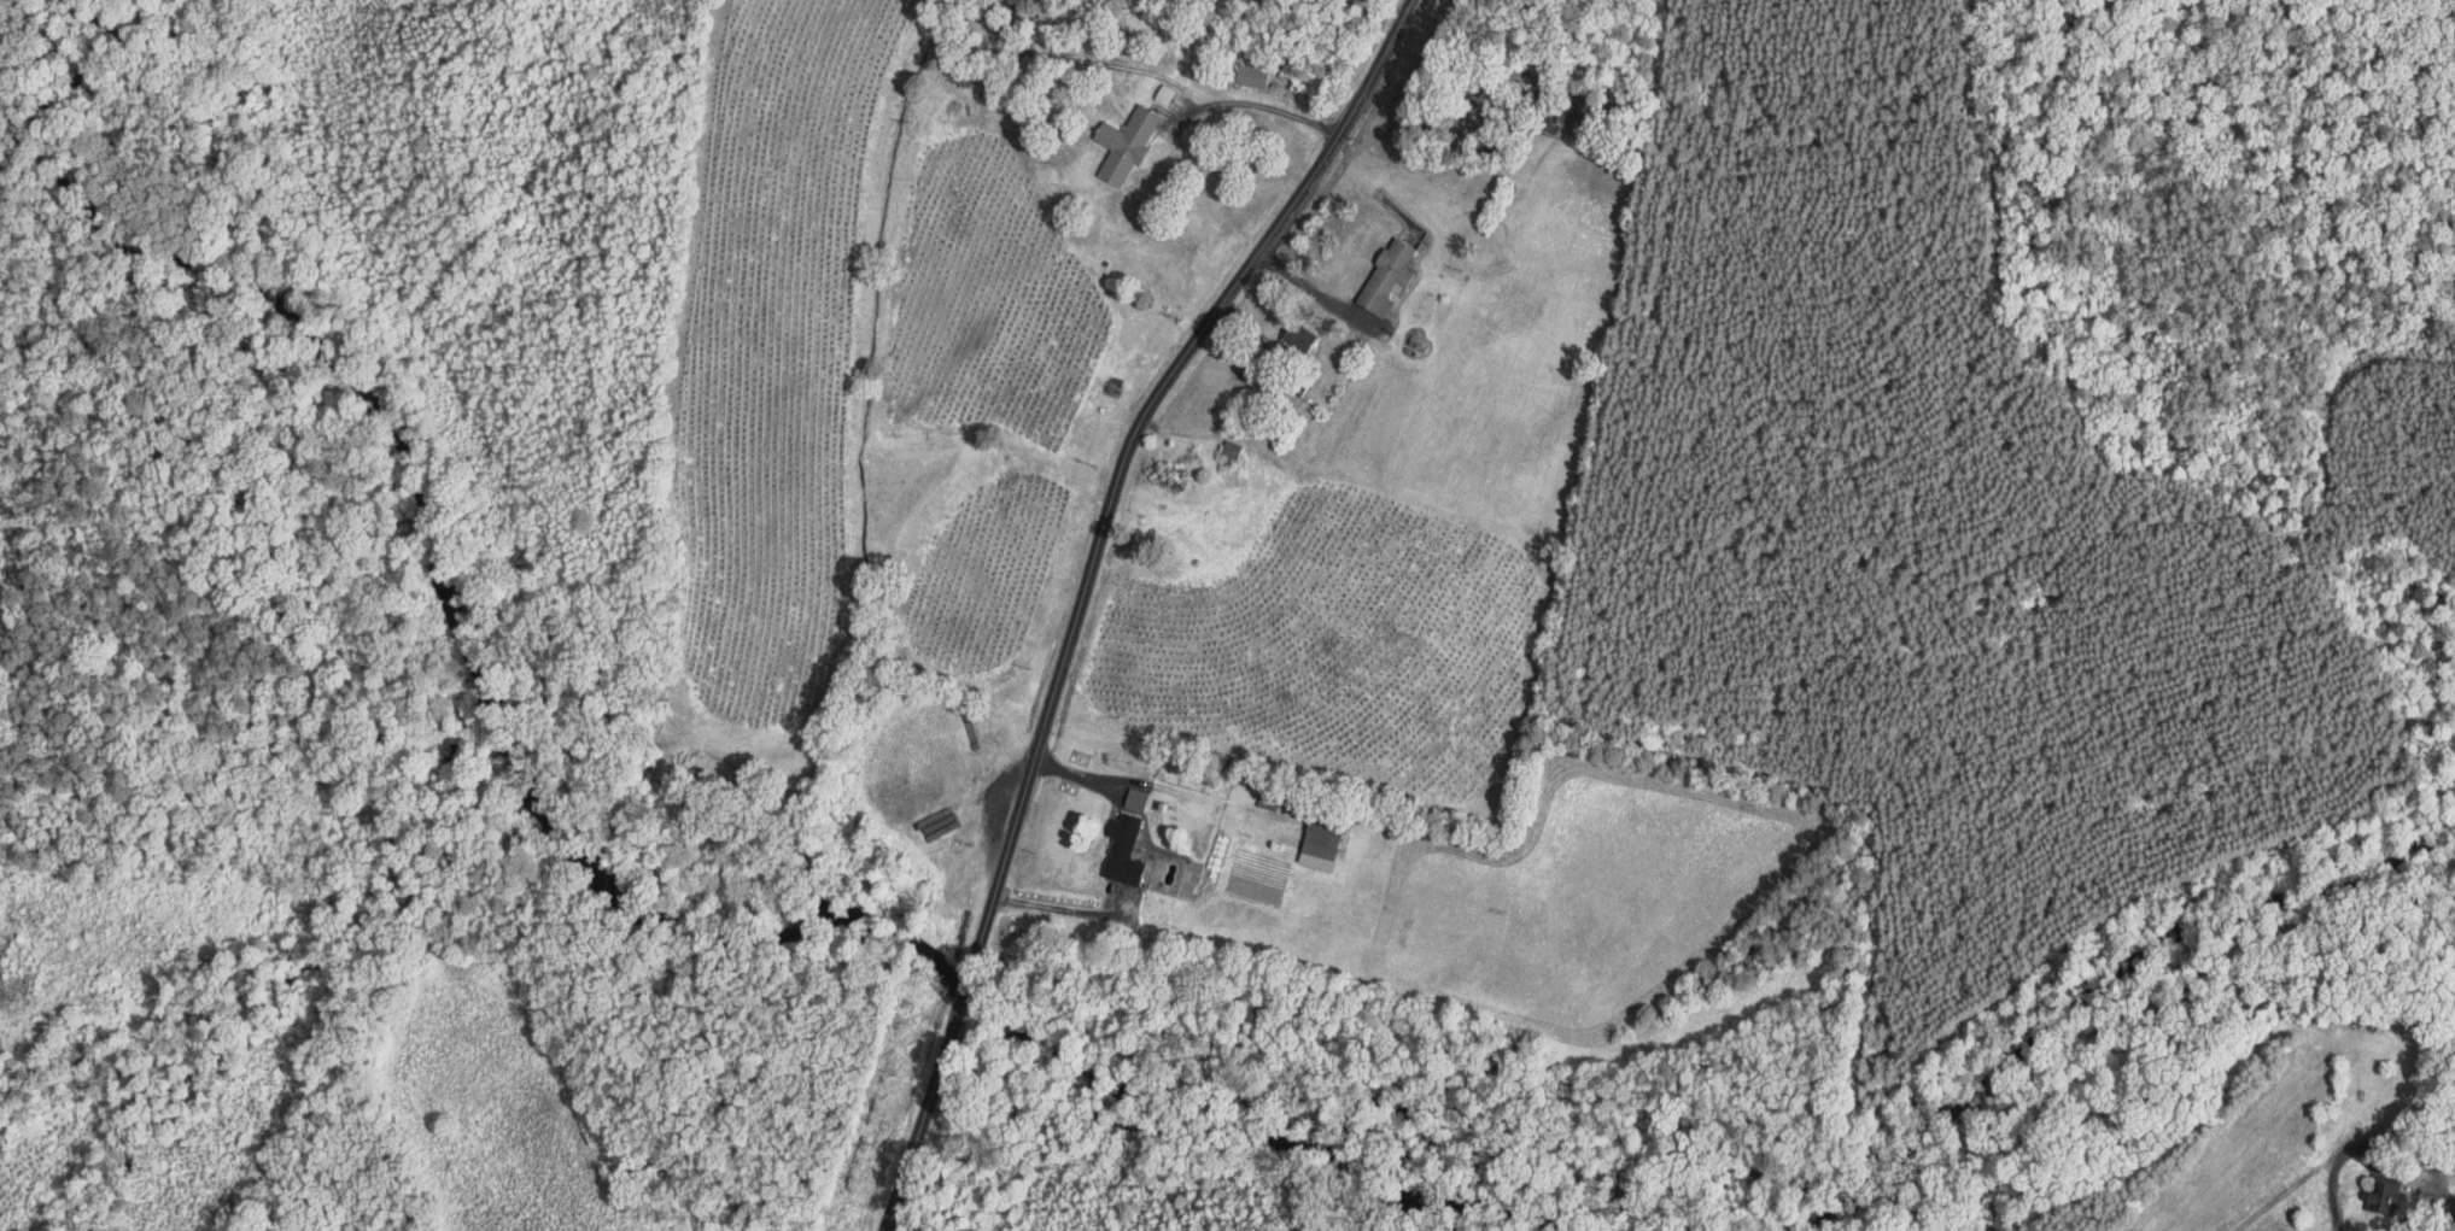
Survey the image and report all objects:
building: (1042, 22)
building: (1251, 75)
building: (1164, 94)
road: (1259, 102)
building: (1126, 142)
building: (1387, 276)
road: (1310, 286)
building: (1357, 311)
building: (1294, 340)
building: (1231, 449)
road: (1082, 585)
building: (1135, 797)
building: (1124, 848)
road: (1057, 904)
road: (2332, 1171)
building: (2385, 1196)

